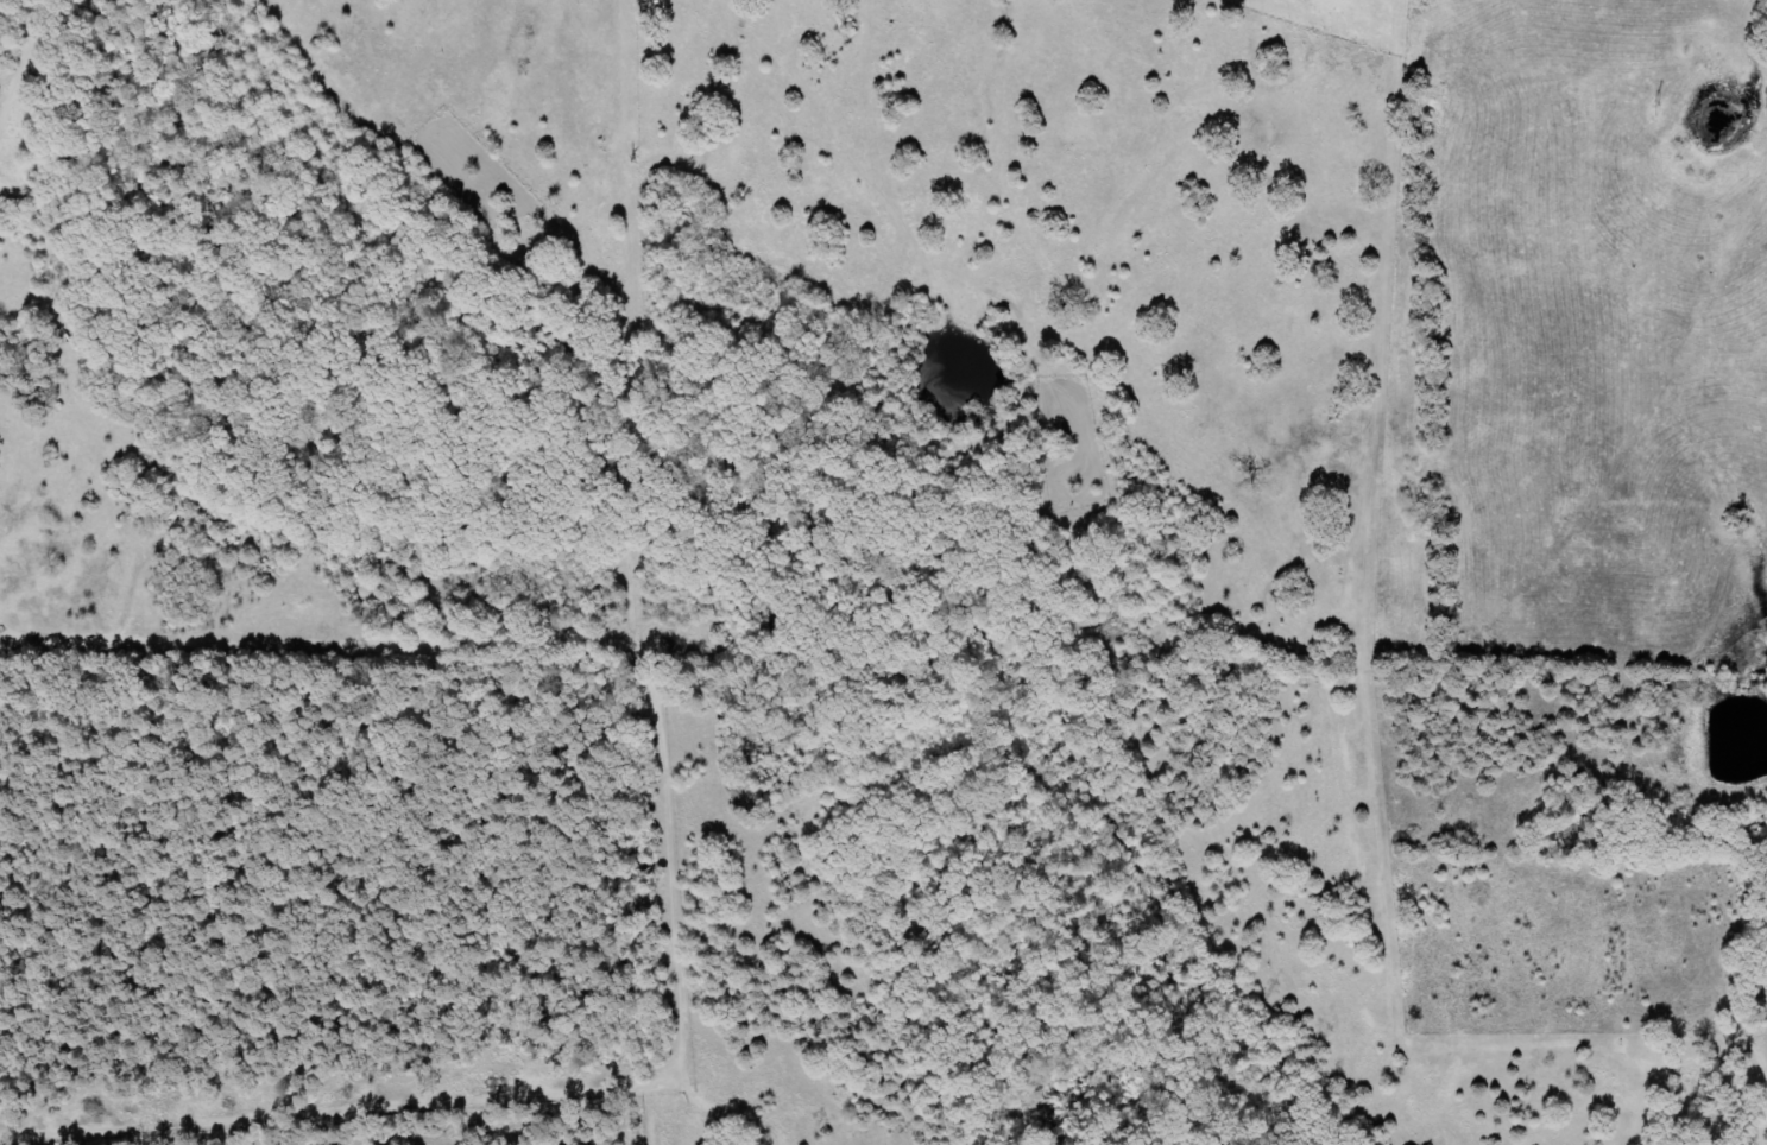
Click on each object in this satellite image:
power tower: (1658, 110)

